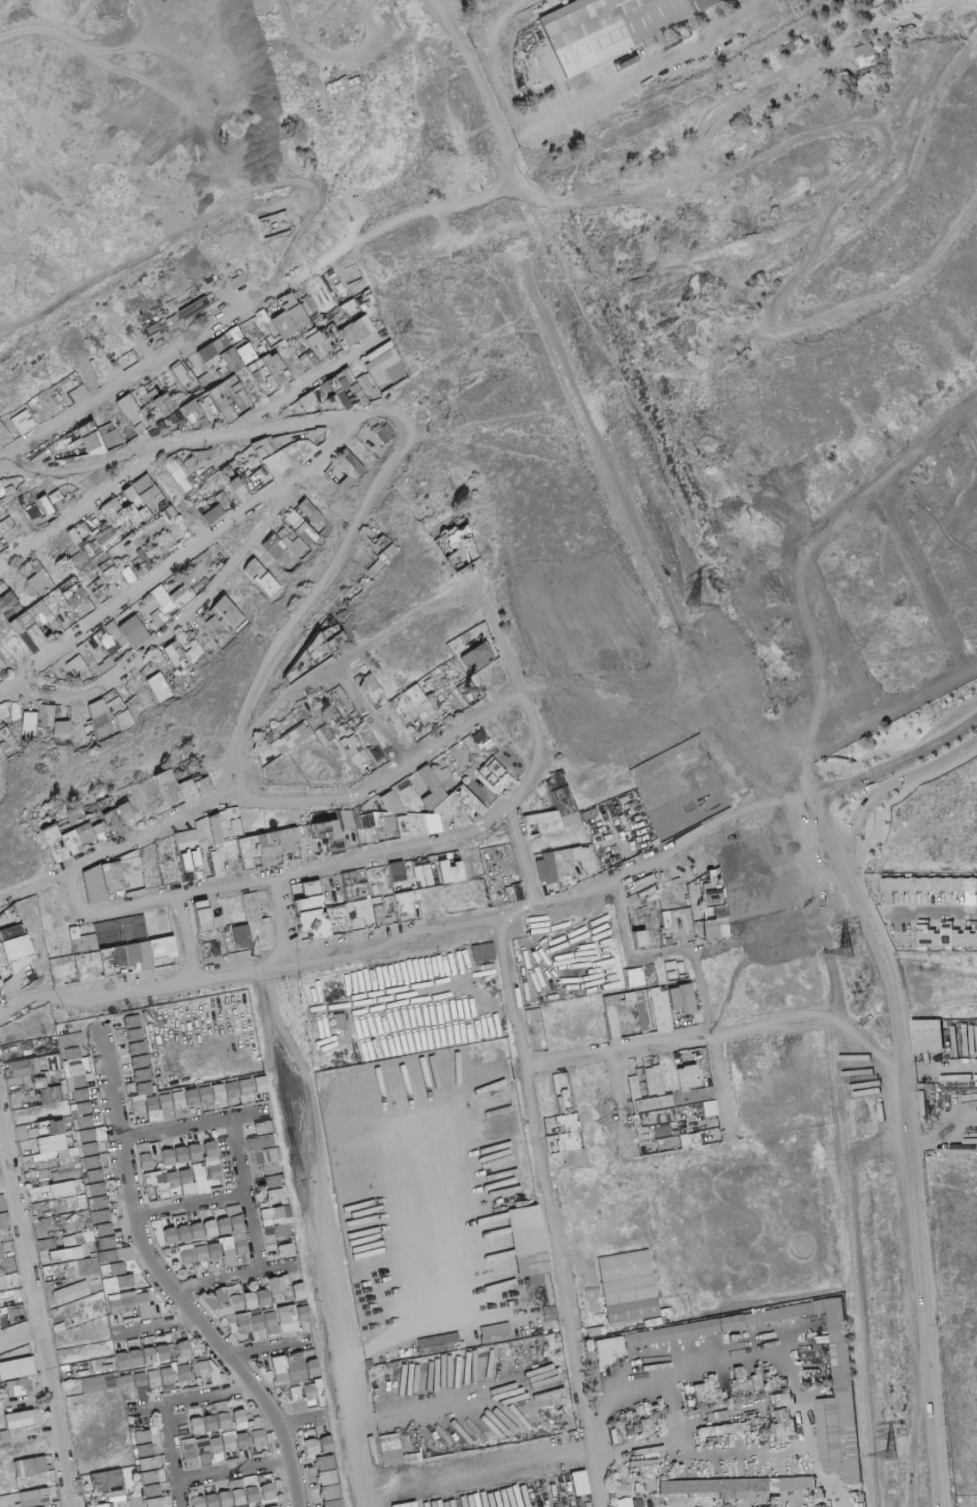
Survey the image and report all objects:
power tower: (702, 609)
power tower: (251, 953)
power tower: (856, 953)
power tower: (290, 1166)
power tower: (314, 1299)
power tower: (333, 1419)
power tower: (900, 1454)

